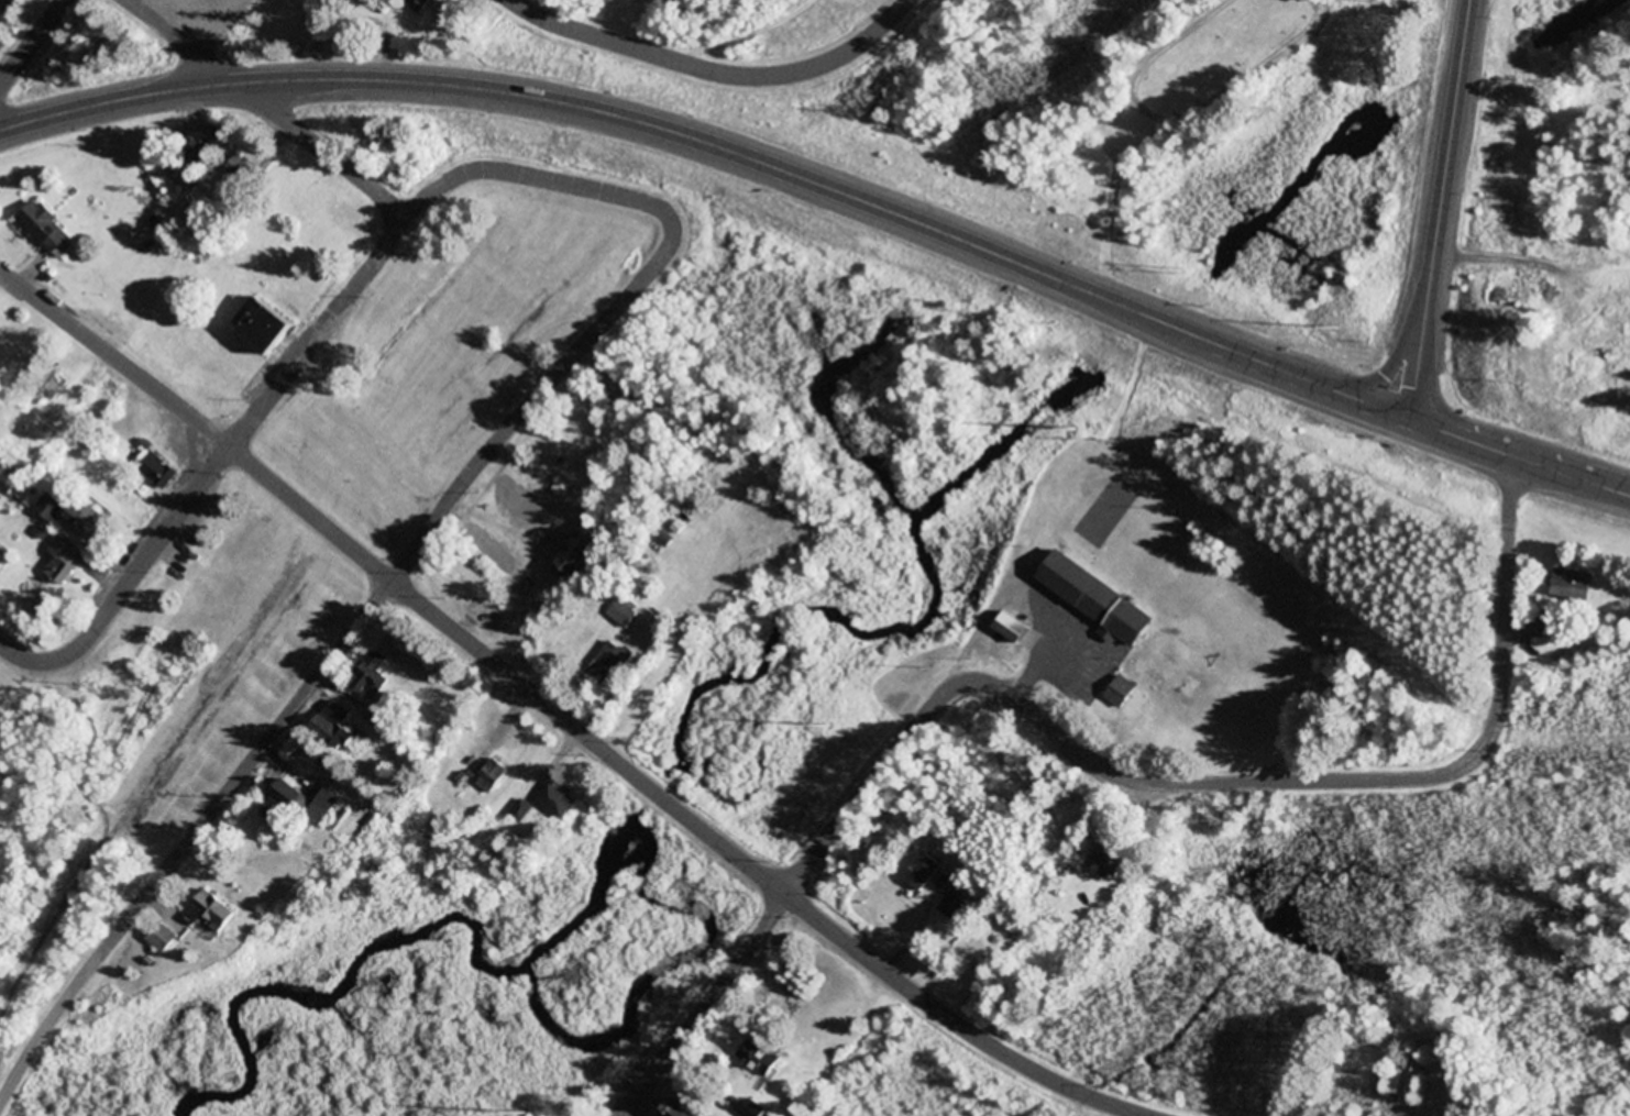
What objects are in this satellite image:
power tower: (1383, 1)
building: (420, 5)
road: (34, 44)
road: (714, 71)
road: (577, 106)
road: (269, 109)
road: (1449, 135)
park: (1167, 151)
building: (194, 159)
building: (241, 176)
road: (588, 191)
building: (44, 229)
power tower: (1182, 274)
road: (352, 296)
building: (264, 328)
road: (1207, 343)
road: (1421, 347)
road: (114, 356)
road: (1387, 368)
building: (57, 385)
road: (1350, 399)
road: (531, 405)
power tower: (1072, 431)
park: (337, 457)
road: (1520, 458)
building: (156, 471)
park: (1081, 495)
building: (521, 499)
building: (49, 508)
building: (92, 522)
building: (62, 561)
road: (128, 585)
building: (1576, 585)
building: (1098, 599)
building: (626, 614)
building: (1018, 632)
building: (609, 664)
building: (373, 675)
building: (1121, 694)
building: (335, 727)
power tower: (829, 728)
road: (1095, 763)
building: (494, 777)
road: (668, 799)
building: (559, 803)
building: (309, 804)
building: (522, 813)
road: (188, 838)
building: (1114, 862)
building: (924, 872)
building: (958, 909)
building: (217, 911)
building: (164, 939)
building: (761, 1059)
building: (1409, 1079)
building: (682, 1109)
building: (753, 1109)
power tower: (526, 1115)

